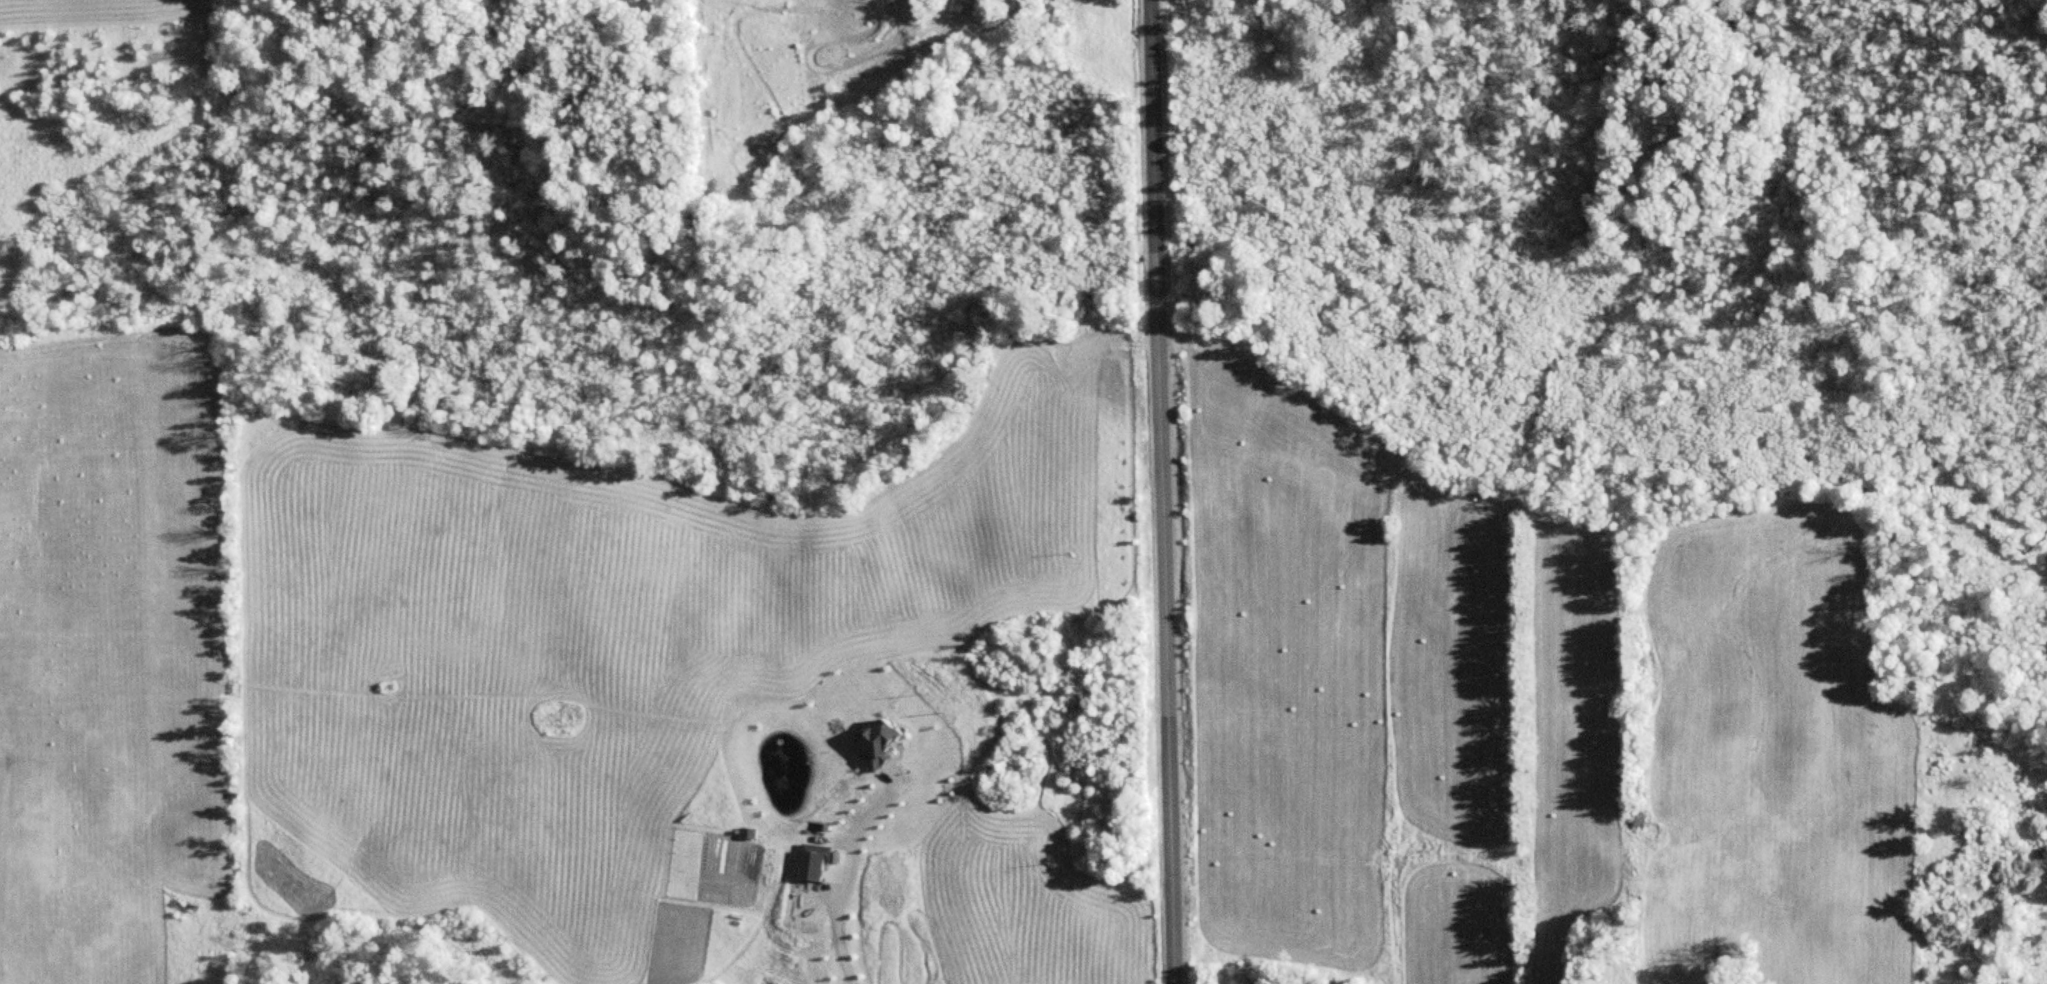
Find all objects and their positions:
crop: (95, 14)
road: (1165, 492)
crop: (108, 652)

